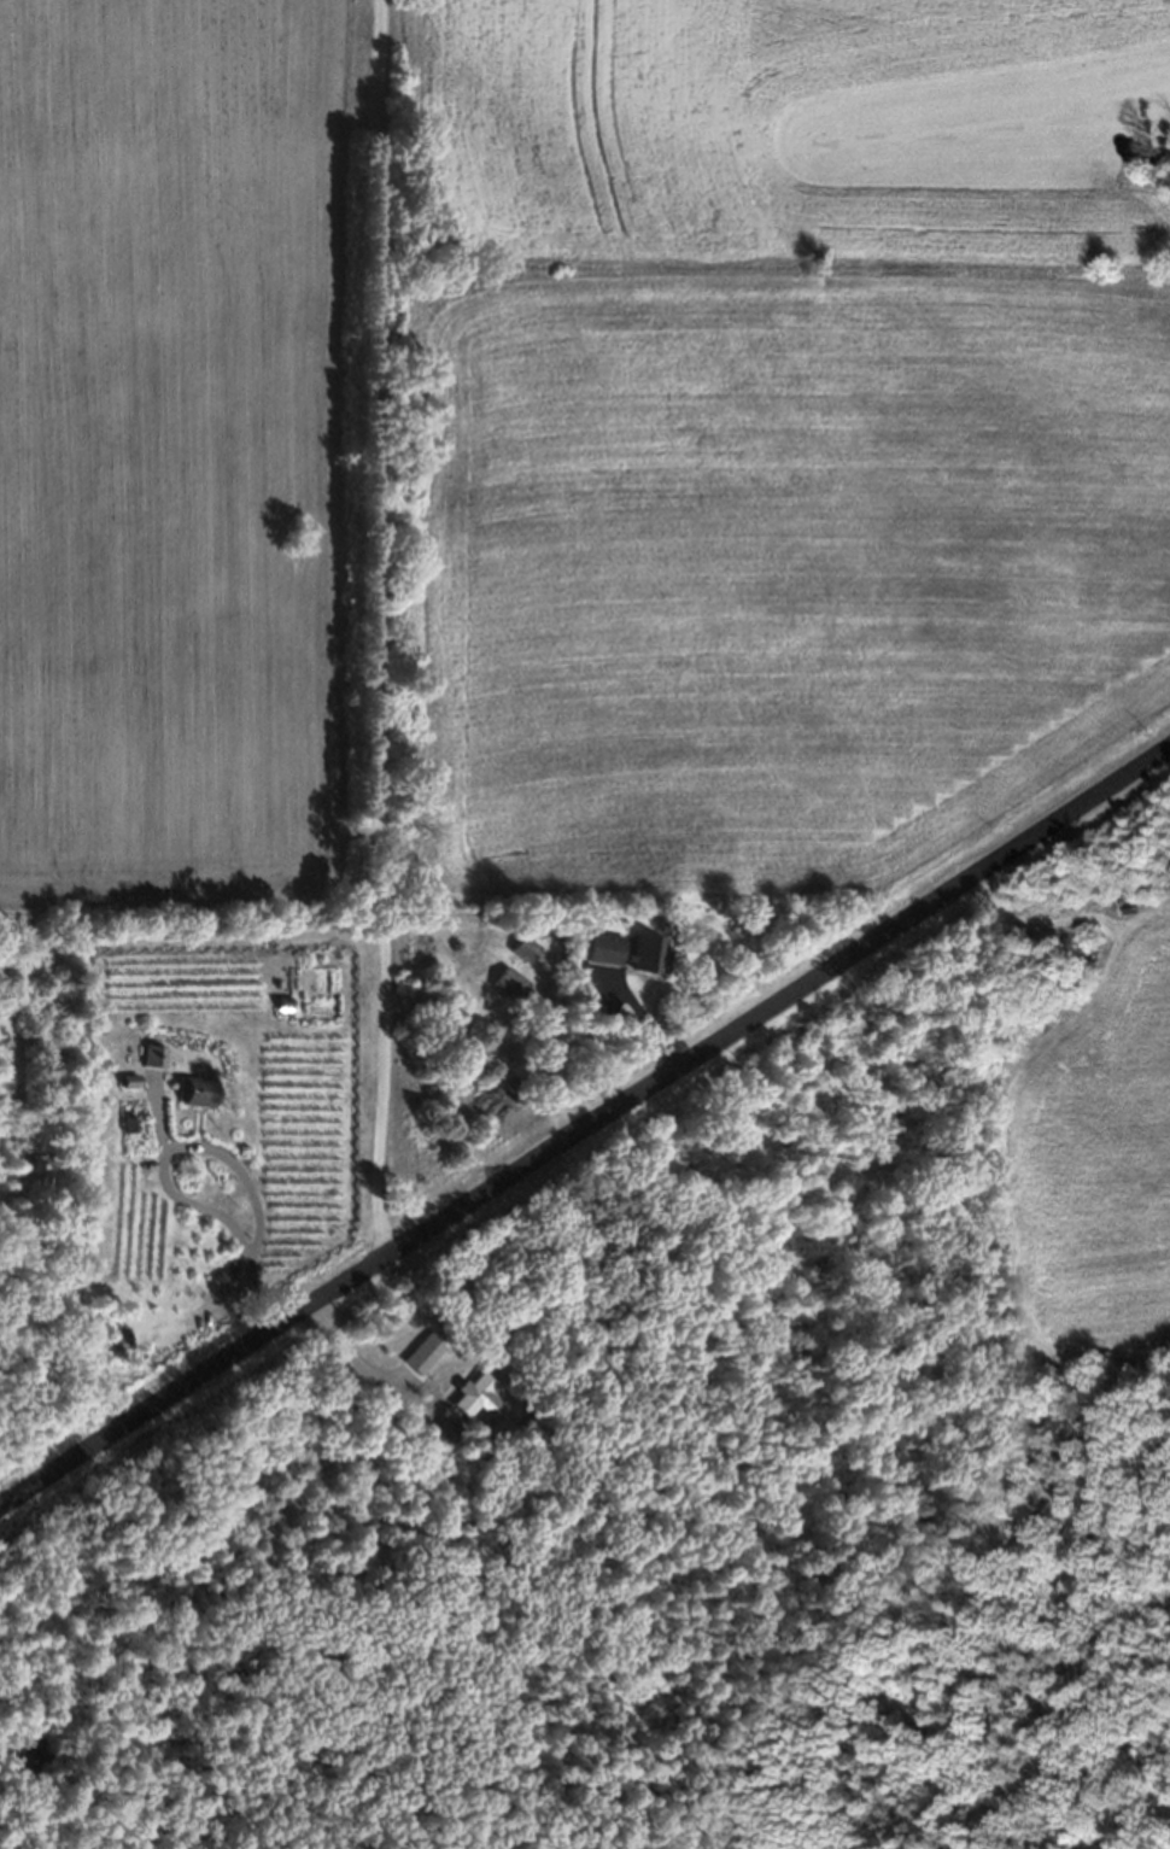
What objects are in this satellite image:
road: (376, 622)
building: (514, 960)
building: (593, 961)
building: (499, 995)
road: (584, 1118)
road: (255, 1205)

